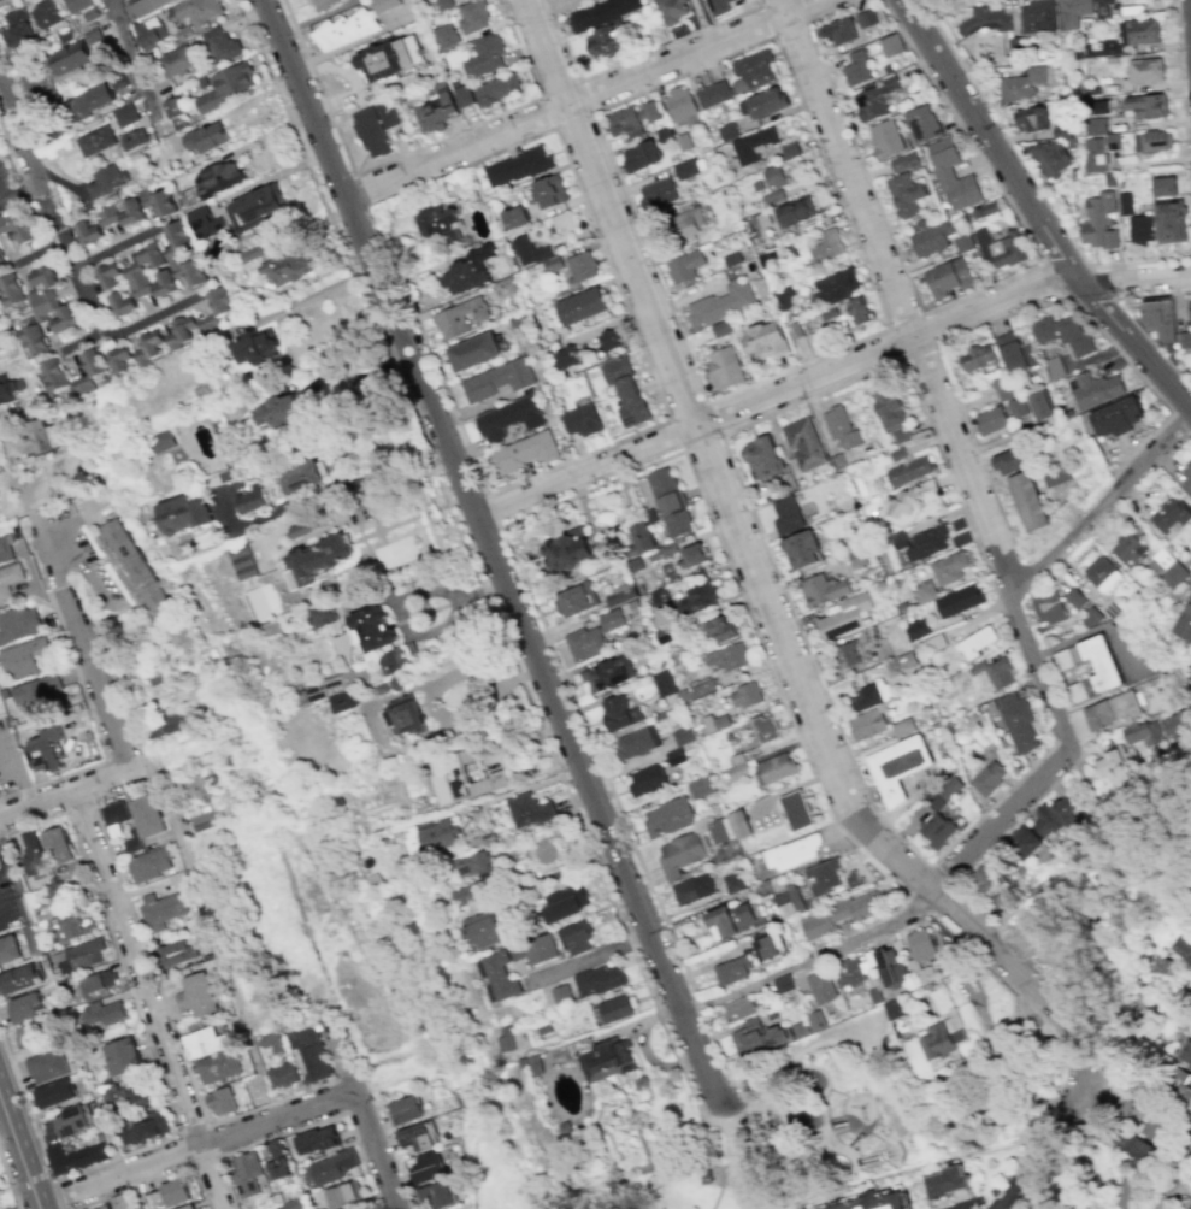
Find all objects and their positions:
road: (1, 0)
building: (1103, 1)
building: (323, 2)
road: (767, 2)
building: (77, 5)
building: (384, 5)
building: (143, 6)
building: (718, 6)
building: (199, 10)
building: (672, 10)
building: (1073, 12)
building: (45, 13)
building: (601, 13)
building: (473, 16)
building: (1038, 16)
building: (866, 18)
road: (767, 19)
building: (986, 19)
road: (800, 24)
building: (838, 30)
building: (17, 31)
building: (342, 31)
building: (1139, 31)
building: (149, 33)
building: (444, 35)
building: (90, 36)
building: (605, 41)
building: (891, 45)
building: (222, 46)
building: (1103, 48)
building: (484, 55)
road: (632, 58)
building: (391, 59)
building: (66, 60)
building: (177, 60)
road: (135, 63)
building: (857, 69)
building: (753, 70)
building: (1145, 70)
building: (35, 84)
building: (1021, 84)
building: (228, 85)
road: (317, 87)
building: (496, 89)
building: (713, 94)
building: (464, 95)
road: (579, 95)
road: (1181, 95)
building: (873, 99)
building: (89, 100)
building: (763, 102)
building: (1148, 105)
building: (171, 107)
building: (436, 107)
building: (682, 107)
building: (385, 113)
building: (124, 114)
road: (495, 114)
building: (631, 119)
building: (921, 123)
building: (1097, 125)
road: (552, 128)
building: (370, 131)
building: (727, 131)
building: (885, 137)
building: (205, 138)
building: (132, 140)
building: (95, 141)
building: (1152, 141)
building: (751, 145)
road: (10, 149)
building: (1054, 152)
building: (639, 155)
building: (1095, 155)
building: (904, 163)
building: (517, 166)
building: (685, 167)
building: (953, 176)
parking lot: (7, 177)
building: (773, 177)
road: (1031, 177)
building: (218, 178)
building: (106, 179)
road: (573, 179)
building: (1165, 187)
road: (360, 189)
building: (549, 191)
building: (656, 194)
building: (906, 194)
road: (16, 196)
building: (155, 202)
building: (1125, 204)
building: (257, 206)
road: (48, 208)
building: (795, 211)
road: (1036, 211)
building: (119, 213)
building: (515, 217)
building: (1098, 220)
building: (204, 222)
building: (690, 222)
building: (760, 222)
building: (1171, 222)
building: (438, 223)
building: (18, 229)
building: (1139, 229)
building: (88, 231)
building: (931, 238)
road: (117, 246)
building: (827, 246)
building: (1000, 249)
building: (536, 254)
building: (0, 260)
building: (170, 261)
road: (1043, 263)
building: (684, 265)
building: (582, 266)
building: (289, 267)
building: (468, 271)
building: (108, 276)
building: (42, 277)
building: (948, 277)
building: (837, 285)
building: (130, 289)
building: (11, 290)
road: (322, 290)
road: (898, 295)
road: (953, 300)
building: (220, 301)
building: (720, 302)
building: (42, 303)
building: (582, 306)
building: (859, 311)
building: (1190, 311)
road: (1125, 312)
road: (154, 313)
building: (460, 317)
building: (1158, 318)
building: (64, 319)
building: (193, 326)
road: (889, 326)
building: (1062, 332)
road: (77, 337)
building: (1184, 338)
building: (611, 340)
building: (34, 341)
building: (763, 341)
building: (155, 343)
road: (933, 344)
building: (2, 347)
building: (473, 352)
building: (1015, 352)
building: (138, 356)
building: (567, 358)
building: (978, 358)
building: (118, 359)
road: (826, 366)
building: (725, 367)
building: (87, 371)
building: (53, 375)
building: (497, 379)
road: (950, 387)
road: (1148, 388)
building: (8, 389)
building: (1002, 389)
building: (1093, 389)
building: (625, 390)
building: (1042, 405)
building: (1016, 407)
building: (891, 412)
building: (276, 414)
building: (1115, 417)
building: (508, 418)
building: (991, 420)
road: (1179, 423)
building: (841, 427)
road: (720, 434)
road: (1190, 436)
building: (39, 437)
building: (163, 441)
road: (464, 441)
building: (803, 443)
building: (524, 452)
building: (762, 458)
building: (1009, 461)
building: (909, 471)
building: (1056, 474)
building: (302, 477)
road: (1116, 477)
building: (1186, 478)
road: (328, 493)
building: (249, 500)
building: (670, 501)
building: (912, 501)
building: (1028, 501)
road: (26, 502)
road: (1101, 502)
road: (494, 509)
building: (178, 515)
building: (786, 515)
building: (1171, 515)
road: (762, 536)
building: (639, 538)
building: (898, 539)
building: (927, 542)
road: (509, 544)
building: (5, 547)
building: (802, 549)
building: (1130, 549)
building: (568, 550)
road: (493, 553)
building: (694, 555)
building: (319, 559)
road: (473, 559)
building: (243, 561)
building: (134, 562)
building: (949, 567)
road: (78, 568)
road: (1006, 572)
building: (1102, 572)
building: (1174, 574)
building: (8, 578)
building: (823, 589)
building: (925, 590)
road: (763, 592)
building: (619, 595)
building: (698, 596)
building: (576, 598)
building: (959, 600)
building: (1049, 608)
building: (320, 615)
building: (847, 617)
building: (1184, 618)
building: (17, 624)
building: (372, 627)
building: (918, 629)
building: (721, 630)
building: (176, 635)
building: (594, 636)
building: (977, 642)
building: (850, 653)
road: (86, 654)
building: (23, 656)
building: (729, 657)
building: (393, 660)
building: (1105, 665)
road: (1040, 670)
building: (996, 672)
road: (485, 673)
building: (1190, 673)
building: (608, 674)
road: (111, 677)
building: (338, 683)
building: (664, 683)
building: (35, 691)
building: (745, 695)
building: (871, 695)
building: (343, 701)
building: (1110, 709)
building: (620, 713)
building: (402, 716)
building: (1018, 720)
building: (172, 721)
building: (867, 724)
building: (1177, 725)
road: (94, 729)
building: (765, 729)
building: (1140, 732)
road: (1059, 738)
building: (635, 743)
building: (43, 748)
parking lot: (11, 759)
building: (1108, 762)
building: (898, 766)
building: (776, 767)
road: (19, 772)
building: (989, 777)
building: (459, 779)
building: (649, 779)
building: (702, 786)
road: (524, 788)
building: (195, 789)
road: (76, 792)
building: (945, 792)
road: (821, 797)
road: (77, 804)
building: (527, 809)
building: (796, 809)
building: (147, 815)
building: (1055, 816)
building: (114, 818)
building: (670, 818)
road: (998, 818)
building: (201, 819)
building: (730, 827)
building: (937, 828)
building: (430, 834)
building: (131, 841)
building: (1022, 842)
building: (58, 844)
building: (31, 851)
building: (682, 853)
building: (791, 853)
road: (6, 859)
road: (867, 860)
building: (149, 862)
building: (0, 863)
building: (477, 865)
building: (825, 877)
building: (984, 878)
building: (177, 879)
building: (853, 879)
road: (915, 881)
building: (692, 889)
building: (55, 891)
building: (465, 894)
building: (789, 900)
building: (568, 901)
road: (915, 906)
parking lot: (7, 908)
building: (161, 908)
building: (23, 909)
building: (839, 914)
building: (724, 922)
building: (70, 925)
building: (89, 926)
building: (484, 928)
road: (136, 930)
building: (577, 937)
building: (30, 939)
road: (214, 939)
building: (768, 944)
building: (919, 944)
building: (8, 948)
building: (543, 949)
building: (1181, 949)
park: (1134, 950)
building: (518, 951)
building: (175, 953)
building: (82, 955)
road: (809, 956)
road: (588, 957)
building: (1161, 962)
road: (137, 967)
building: (732, 969)
building: (849, 972)
building: (501, 975)
building: (19, 977)
building: (98, 980)
building: (600, 980)
building: (783, 983)
building: (193, 985)
building: (821, 986)
building: (562, 995)
road: (1014, 996)
building: (199, 1001)
road: (134, 1003)
building: (25, 1005)
building: (617, 1009)
building: (737, 1009)
building: (101, 1013)
building: (30, 1033)
building: (756, 1037)
building: (205, 1039)
building: (505, 1039)
building: (272, 1042)
building: (938, 1042)
road: (641, 1049)
building: (308, 1050)
building: (1186, 1052)
building: (123, 1056)
building: (607, 1060)
road: (341, 1061)
building: (47, 1064)
building: (217, 1066)
building: (282, 1074)
road: (891, 1074)
road: (738, 1081)
building: (1177, 1089)
building: (54, 1092)
road: (466, 1092)
building: (143, 1093)
building: (112, 1096)
building: (1128, 1099)
building: (222, 1101)
road: (269, 1102)
road: (824, 1102)
road: (25, 1108)
building: (407, 1110)
road: (275, 1115)
park: (845, 1119)
building: (73, 1120)
building: (1158, 1122)
road: (309, 1124)
building: (143, 1126)
road: (718, 1126)
road: (193, 1128)
road: (832, 1138)
road: (1079, 1138)
building: (317, 1139)
building: (417, 1140)
building: (276, 1148)
road: (185, 1149)
road: (373, 1149)
road: (388, 1149)
road: (19, 1150)
building: (1139, 1150)
road: (217, 1154)
building: (75, 1156)
road: (1021, 1162)
building: (332, 1166)
building: (278, 1167)
building: (429, 1168)
building: (708, 1169)
road: (118, 1170)
building: (244, 1173)
road: (211, 1175)
road: (1096, 1176)
road: (153, 1179)
road: (1174, 1179)
road: (10, 1180)
road: (226, 1183)
building: (944, 1183)
road: (736, 1185)
building: (175, 1191)
building: (1127, 1192)
road: (55, 1193)
building: (342, 1193)
building: (437, 1195)
building: (869, 1201)
building: (120, 1202)
road: (1095, 1202)
building: (295, 1203)
building: (100, 1207)
building: (185, 1207)
building: (1190, 1208)

